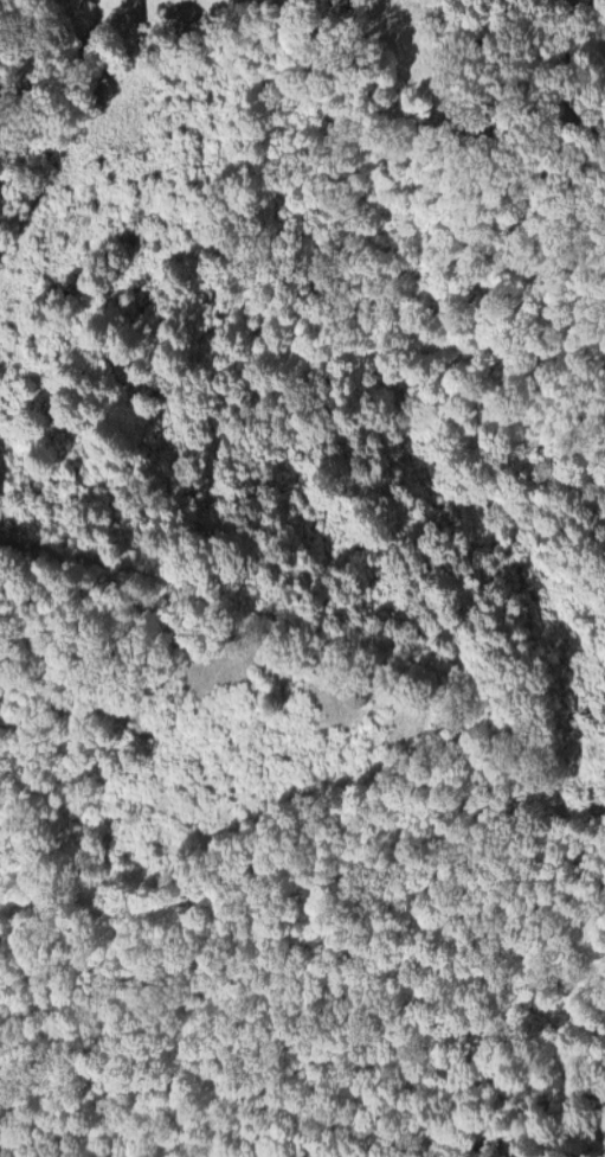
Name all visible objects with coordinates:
road: (59, 167)
road: (316, 616)
road: (573, 992)

